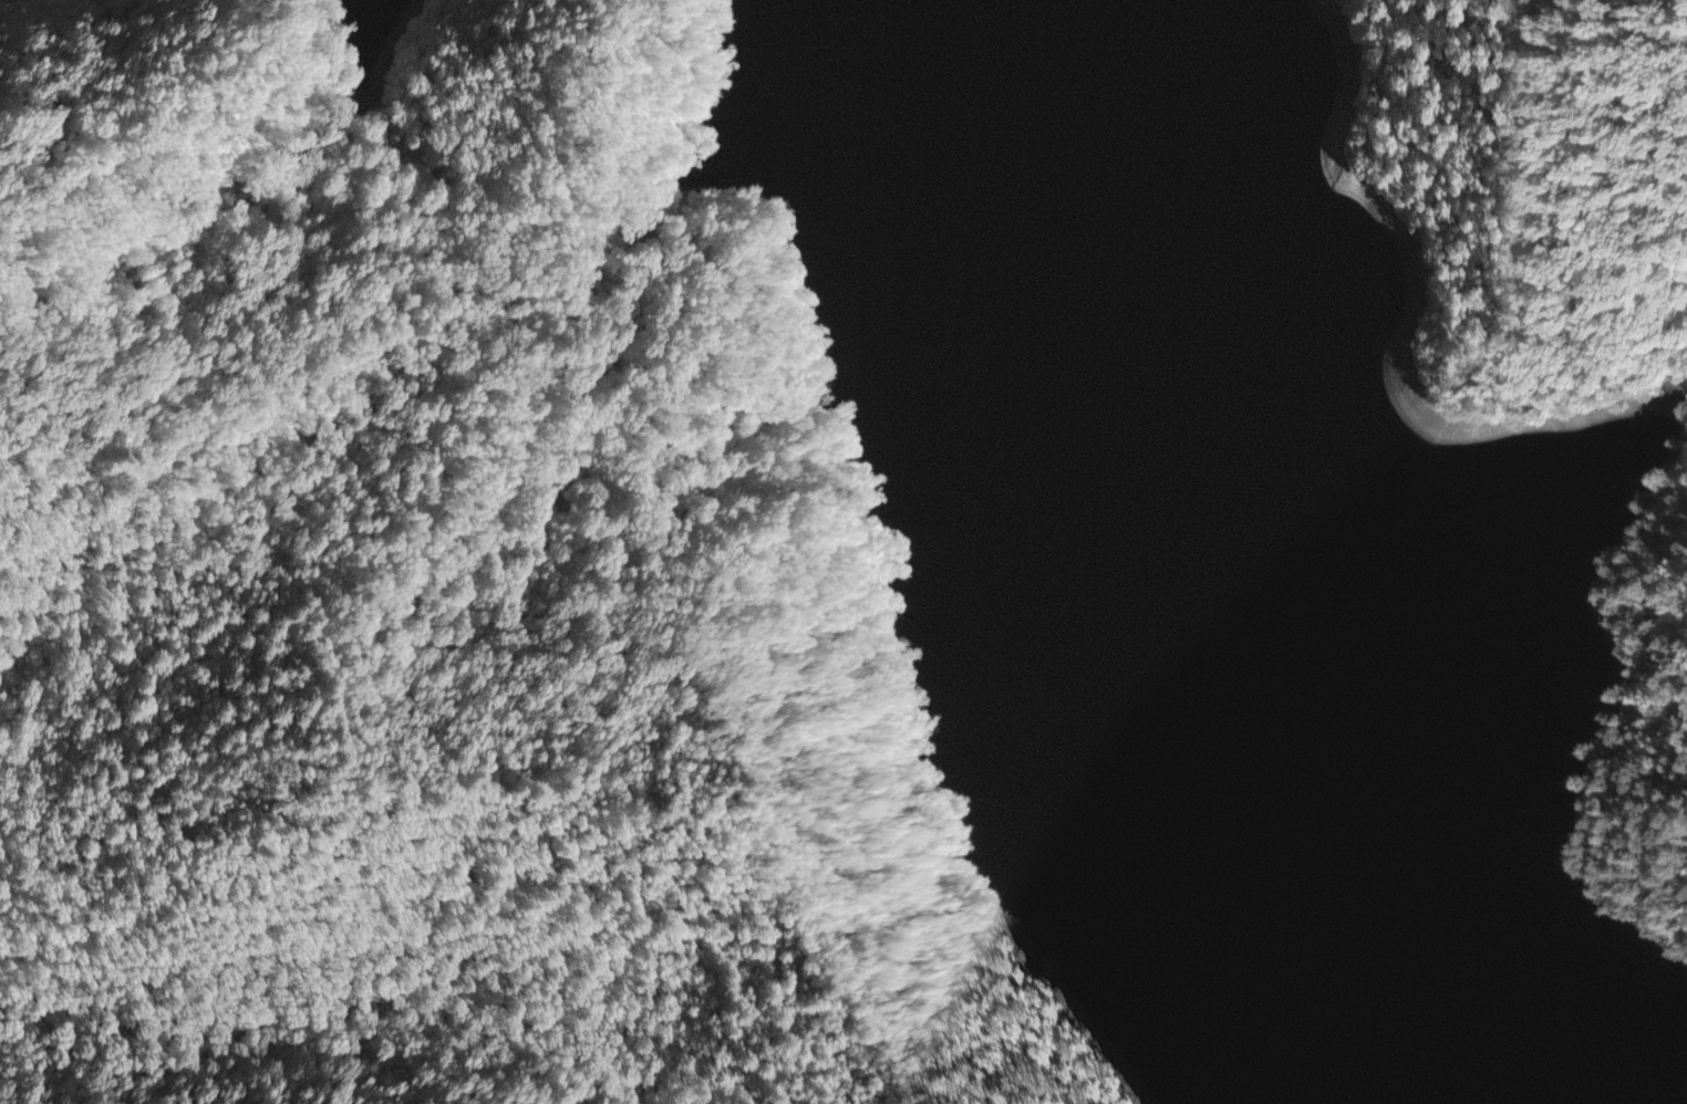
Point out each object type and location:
river: (1261, 586)

